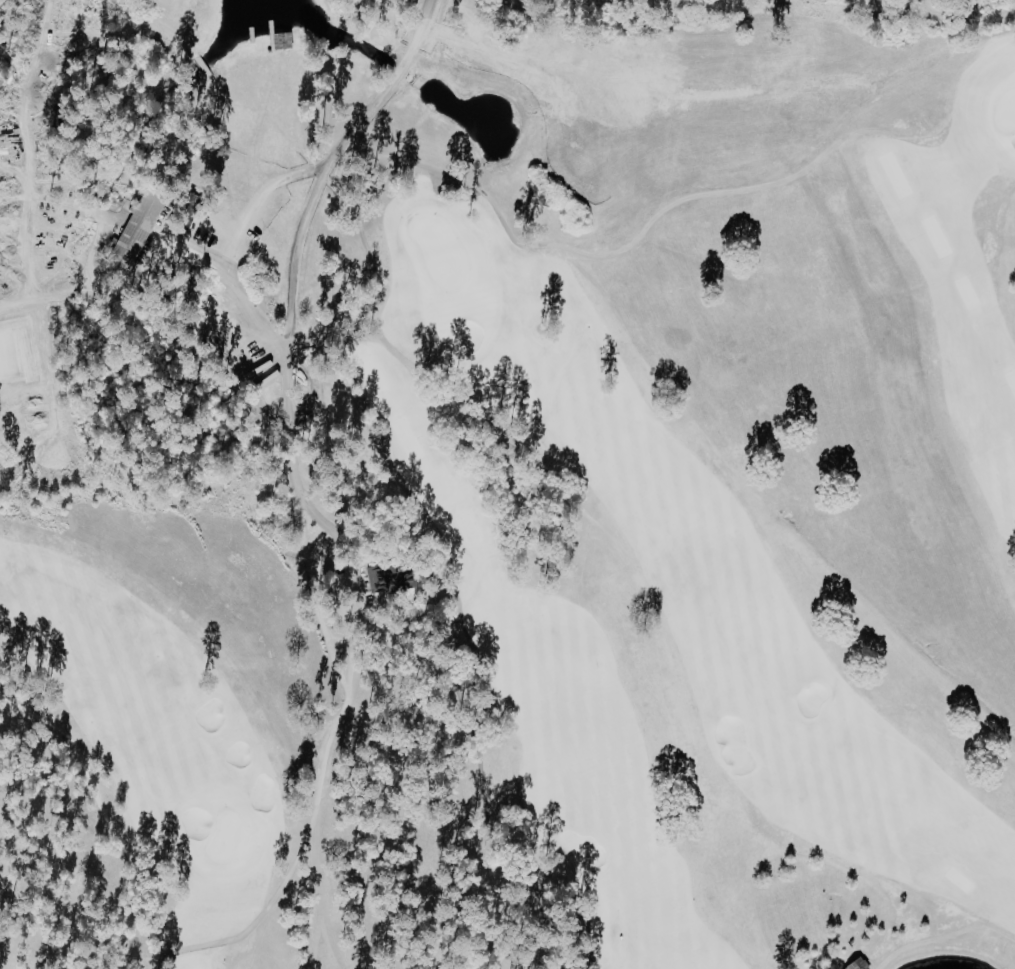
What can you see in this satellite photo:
park: (997, 23)
road: (863, 134)
road: (752, 186)
building: (190, 210)
building: (136, 233)
road: (234, 243)
road: (296, 296)
road: (313, 398)
park: (8, 471)
park: (512, 484)
park: (483, 737)
park: (67, 854)
building: (859, 964)

